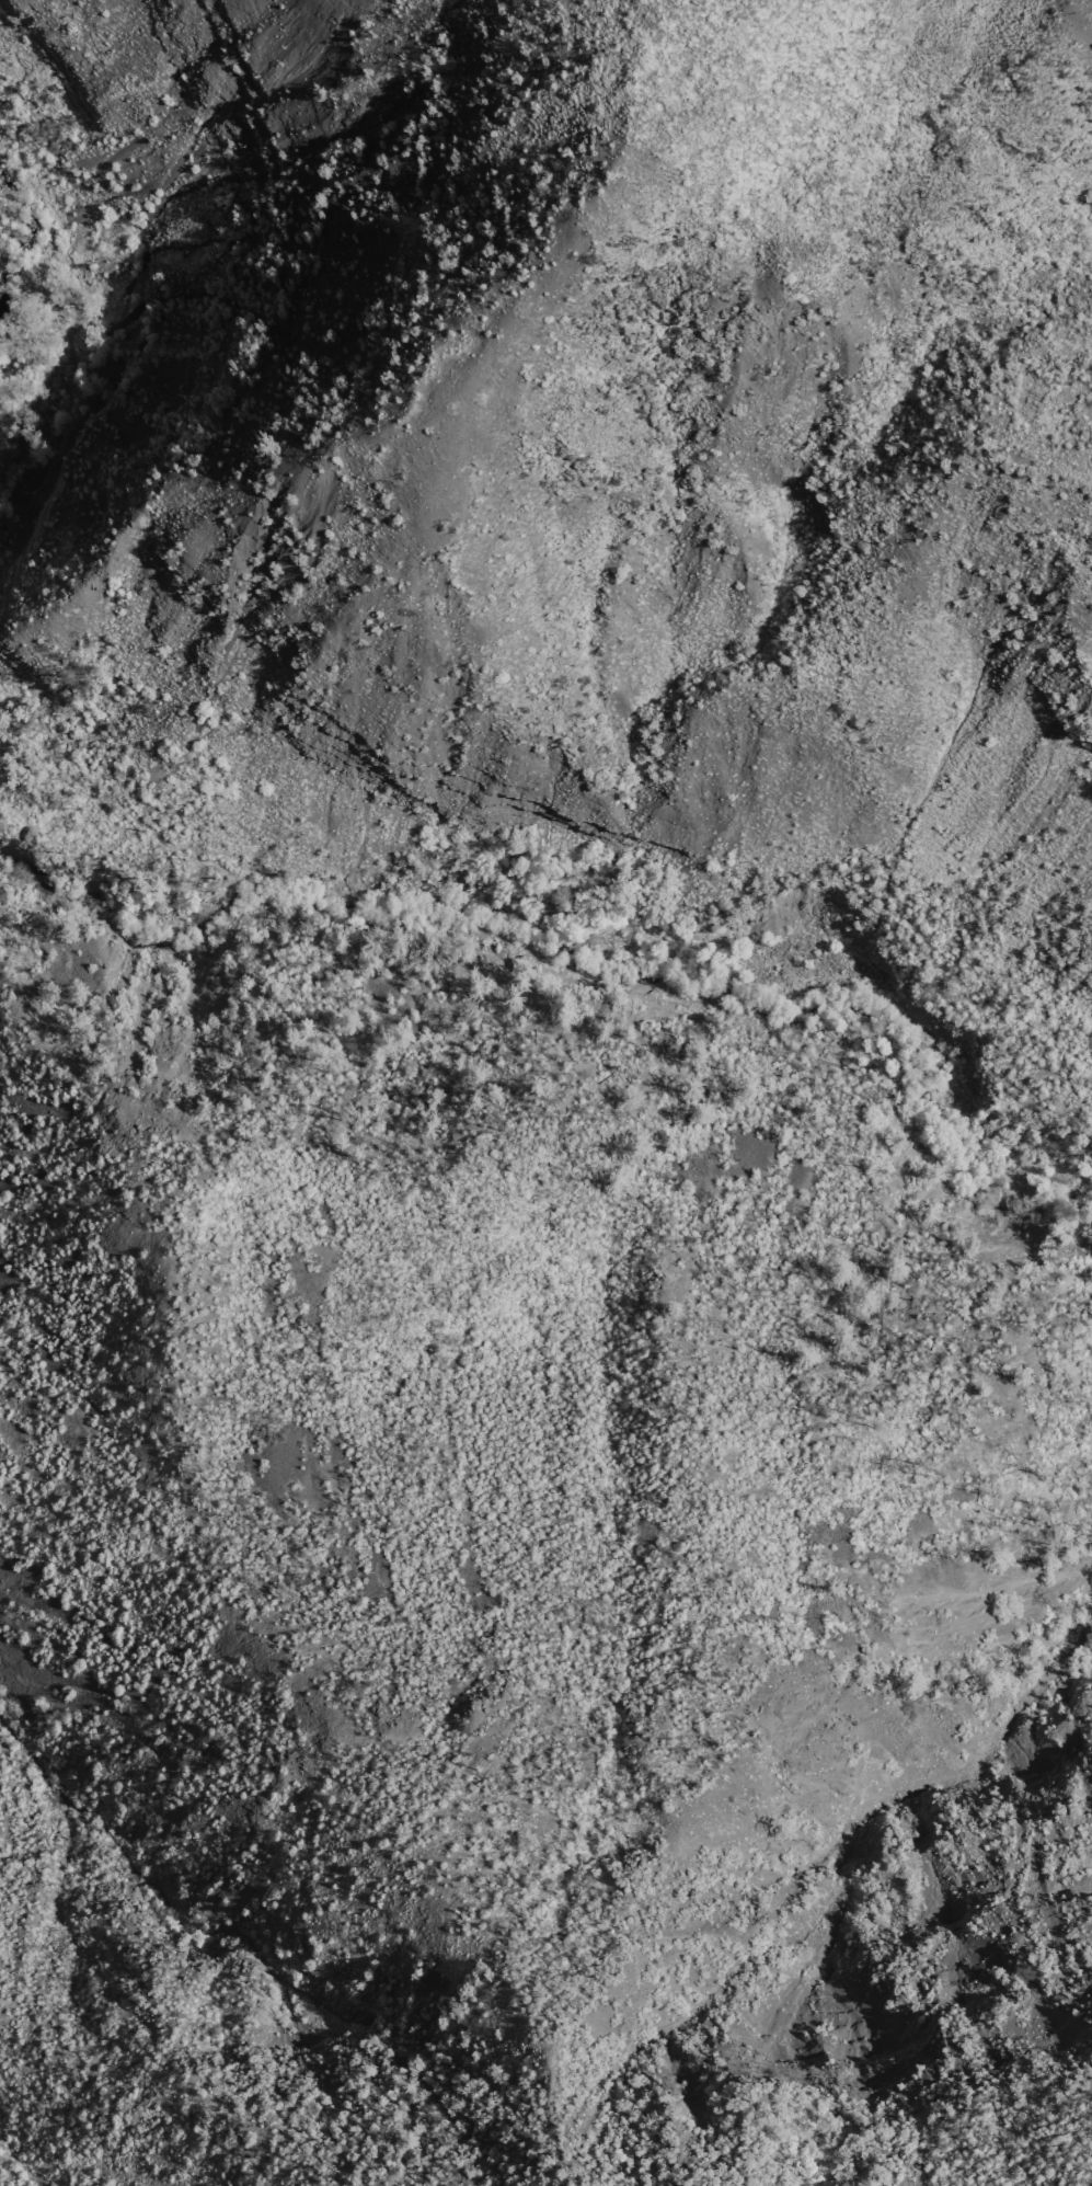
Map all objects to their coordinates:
road: (77, 270)
road: (116, 802)
road: (115, 907)
road: (690, 969)

